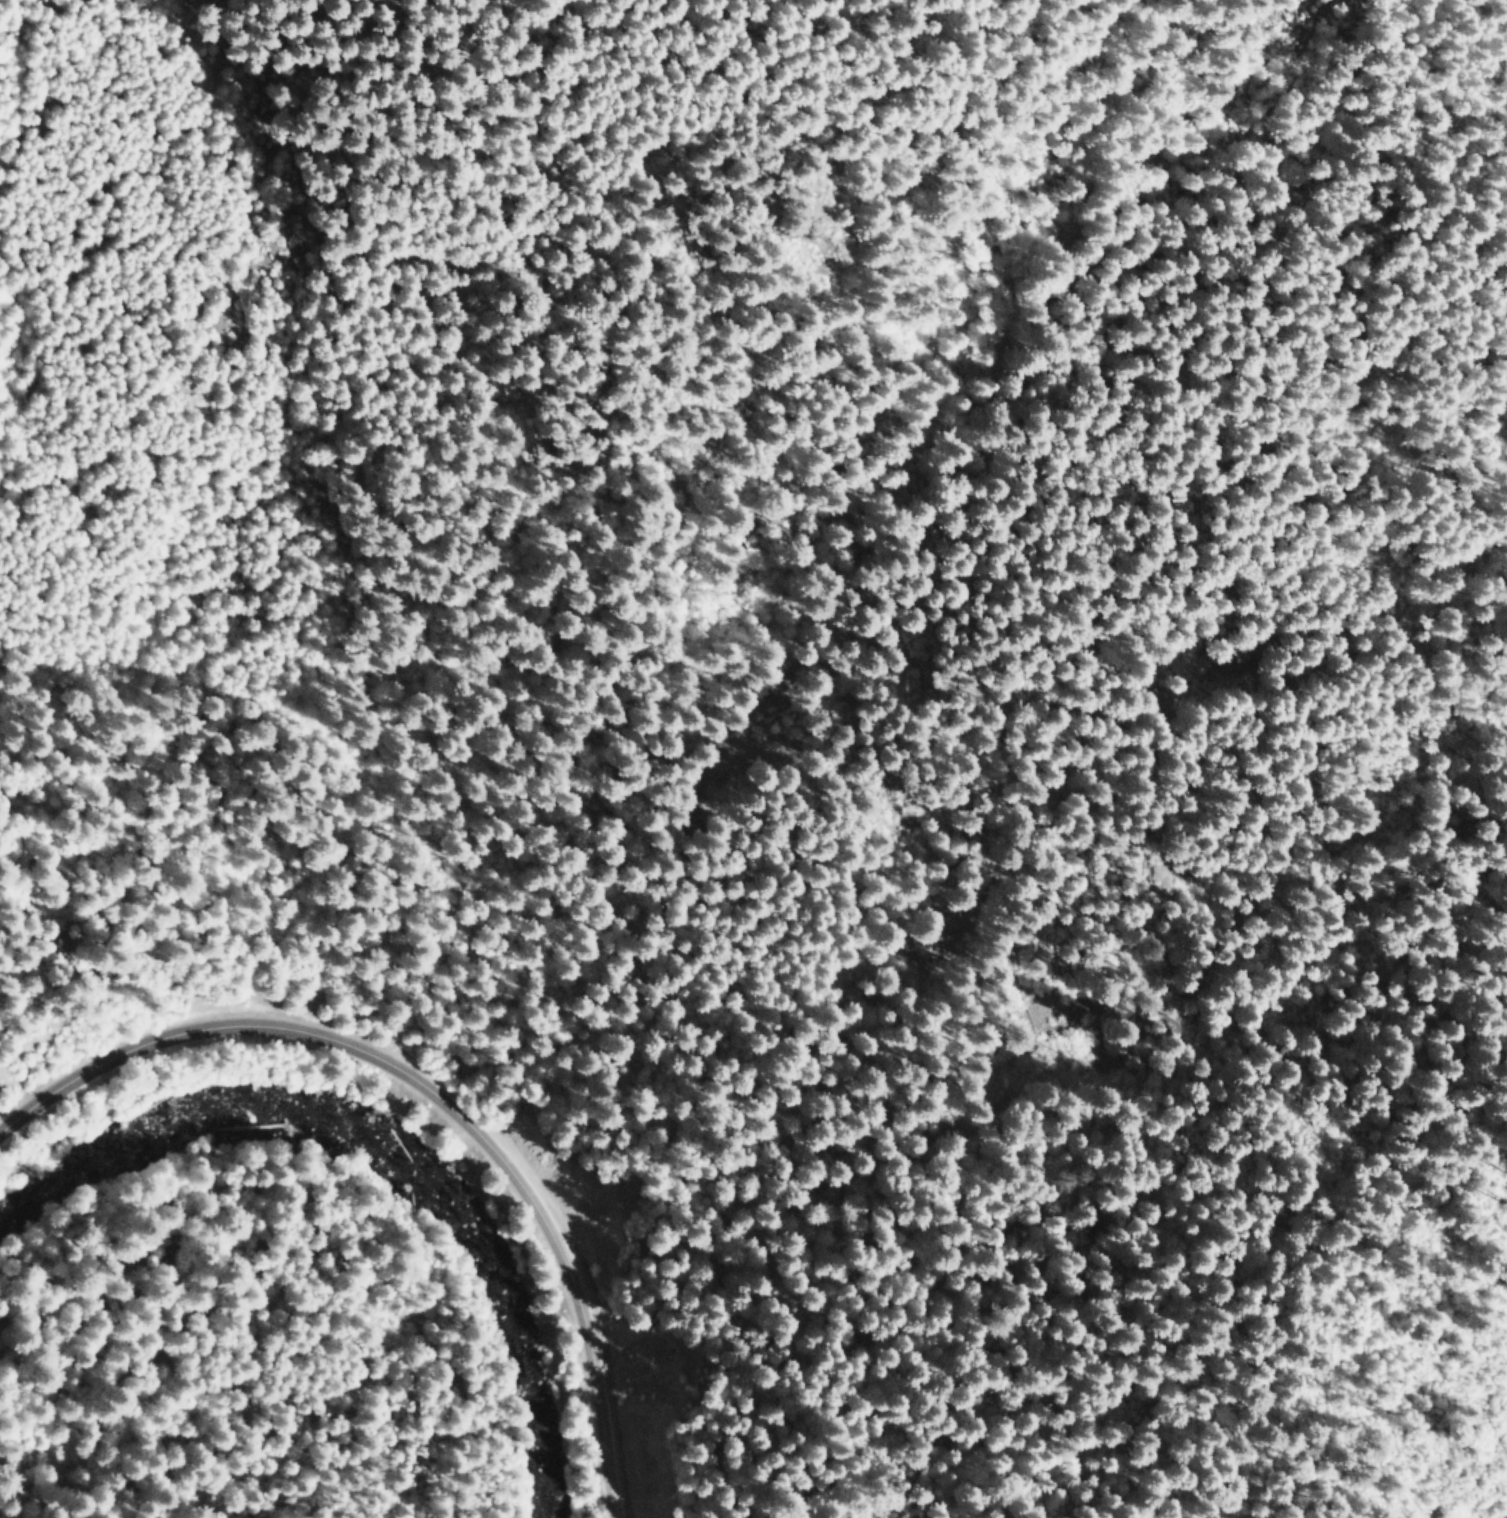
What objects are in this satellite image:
road: (435, 1090)
river: (372, 1171)

